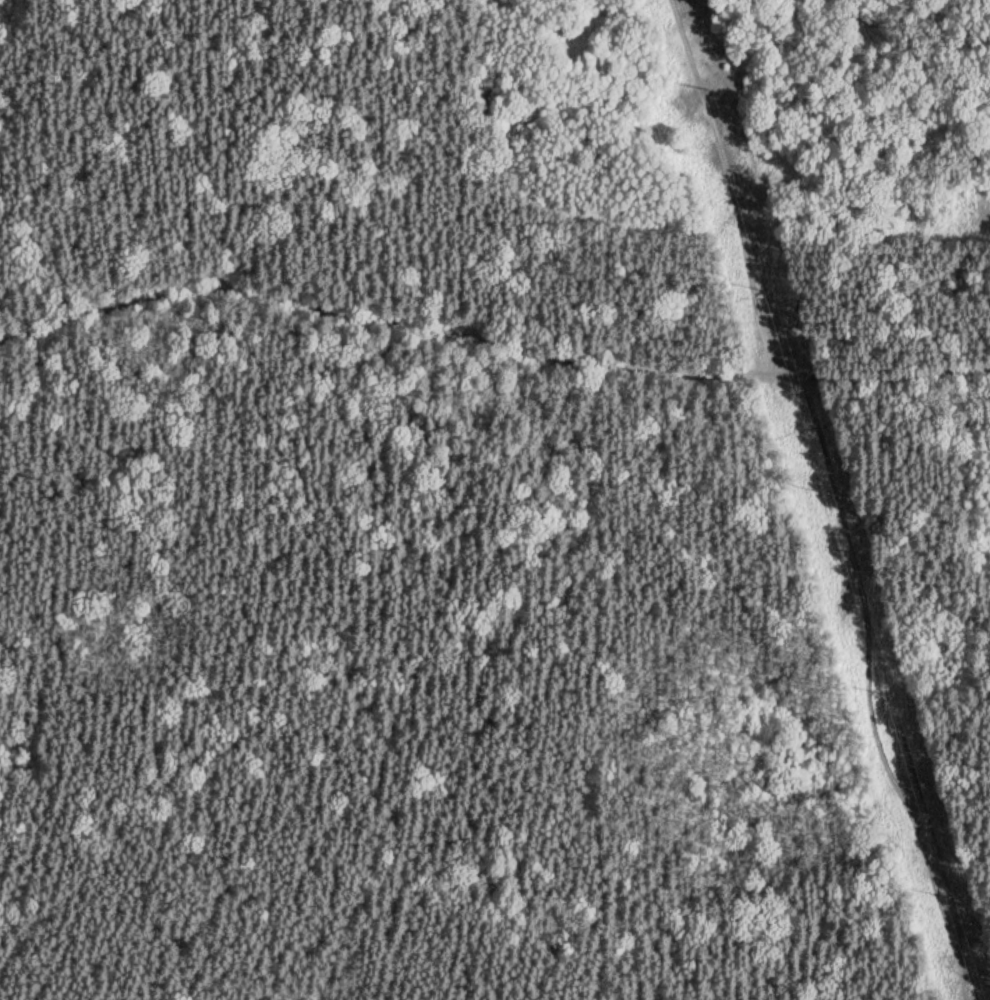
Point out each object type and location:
road: (987, 7)
road: (752, 292)
road: (384, 323)
road: (881, 693)

